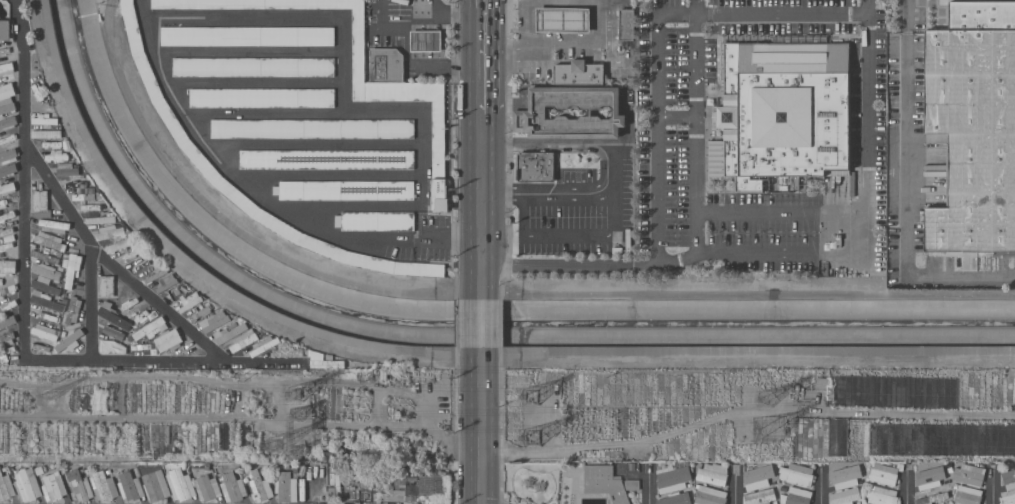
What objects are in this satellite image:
road: (626, 3)
road: (763, 11)
road: (420, 13)
road: (452, 13)
road: (241, 16)
building: (563, 20)
gas station: (563, 20)
road: (525, 23)
building: (626, 24)
road: (627, 24)
road: (381, 28)
road: (414, 28)
building: (5, 30)
building: (247, 36)
building: (426, 41)
gas station: (426, 41)
road: (608, 45)
road: (564, 46)
building: (5, 50)
road: (248, 52)
road: (483, 57)
building: (386, 64)
road: (342, 65)
road: (426, 66)
building: (253, 67)
building: (7, 68)
building: (579, 73)
road: (254, 83)
building: (364, 83)
road: (869, 84)
building: (38, 90)
building: (7, 98)
building: (261, 98)
building: (571, 111)
road: (383, 113)
building: (782, 113)
road: (264, 114)
road: (676, 116)
building: (45, 119)
building: (171, 121)
building: (8, 122)
building: (44, 126)
building: (973, 127)
building: (310, 128)
road: (482, 130)
building: (47, 134)
road: (657, 137)
building: (9, 139)
road: (314, 143)
road: (613, 154)
building: (8, 156)
building: (58, 156)
building: (325, 159)
building: (534, 166)
building: (8, 170)
building: (67, 170)
road: (481, 171)
road: (327, 175)
road: (424, 177)
road: (23, 179)
building: (76, 184)
building: (80, 190)
building: (345, 190)
road: (905, 192)
building: (85, 195)
road: (258, 195)
road: (500, 195)
building: (4, 203)
building: (41, 204)
road: (351, 204)
building: (94, 206)
road: (799, 212)
building: (7, 216)
road: (481, 219)
building: (100, 220)
building: (377, 221)
road: (696, 224)
building: (54, 226)
building: (5, 231)
building: (110, 231)
road: (564, 238)
building: (49, 241)
building: (121, 244)
building: (6, 245)
building: (135, 253)
building: (44, 257)
road: (112, 259)
building: (141, 265)
road: (571, 265)
building: (7, 267)
building: (70, 267)
building: (47, 271)
road: (481, 271)
building: (153, 276)
building: (167, 282)
building: (45, 285)
building: (106, 286)
building: (8, 289)
road: (91, 299)
building: (45, 300)
building: (190, 302)
building: (7, 305)
building: (131, 307)
building: (73, 310)
building: (112, 314)
building: (201, 314)
building: (47, 316)
building: (142, 317)
building: (7, 321)
building: (214, 321)
road: (481, 323)
building: (151, 329)
building: (45, 332)
building: (229, 332)
building: (114, 333)
building: (6, 339)
building: (168, 340)
building: (69, 341)
building: (244, 341)
building: (264, 345)
building: (111, 346)
building: (142, 346)
building: (287, 351)
building: (3, 357)
road: (125, 359)
building: (327, 363)
power tower: (297, 394)
power tower: (532, 394)
power tower: (53, 395)
power tower: (764, 395)
power tower: (297, 415)
road: (481, 425)
power tower: (766, 431)
building: (837, 436)
power tower: (293, 437)
power tower: (532, 439)
building: (201, 468)
building: (623, 469)
building: (712, 474)
building: (796, 474)
building: (883, 474)
building: (969, 475)
building: (758, 476)
building: (845, 476)
building: (336, 478)
building: (672, 478)
building: (929, 478)
building: (604, 483)
building: (26, 484)
road: (650, 484)
road: (821, 484)
road: (906, 484)
road: (993, 484)
building: (80, 485)
building: (156, 485)
building: (181, 485)
building: (632, 485)
road: (734, 485)
building: (103, 486)
building: (129, 486)
building: (419, 486)
building: (6, 487)
building: (53, 487)
building: (233, 487)
building: (259, 487)
building: (286, 487)
building: (1008, 487)
building: (207, 488)
building: (709, 495)
building: (966, 495)
building: (760, 496)
building: (797, 496)
building: (882, 496)
building: (930, 496)
building: (843, 497)
building: (674, 498)
building: (348, 502)
building: (357, 503)
building: (385, 503)

